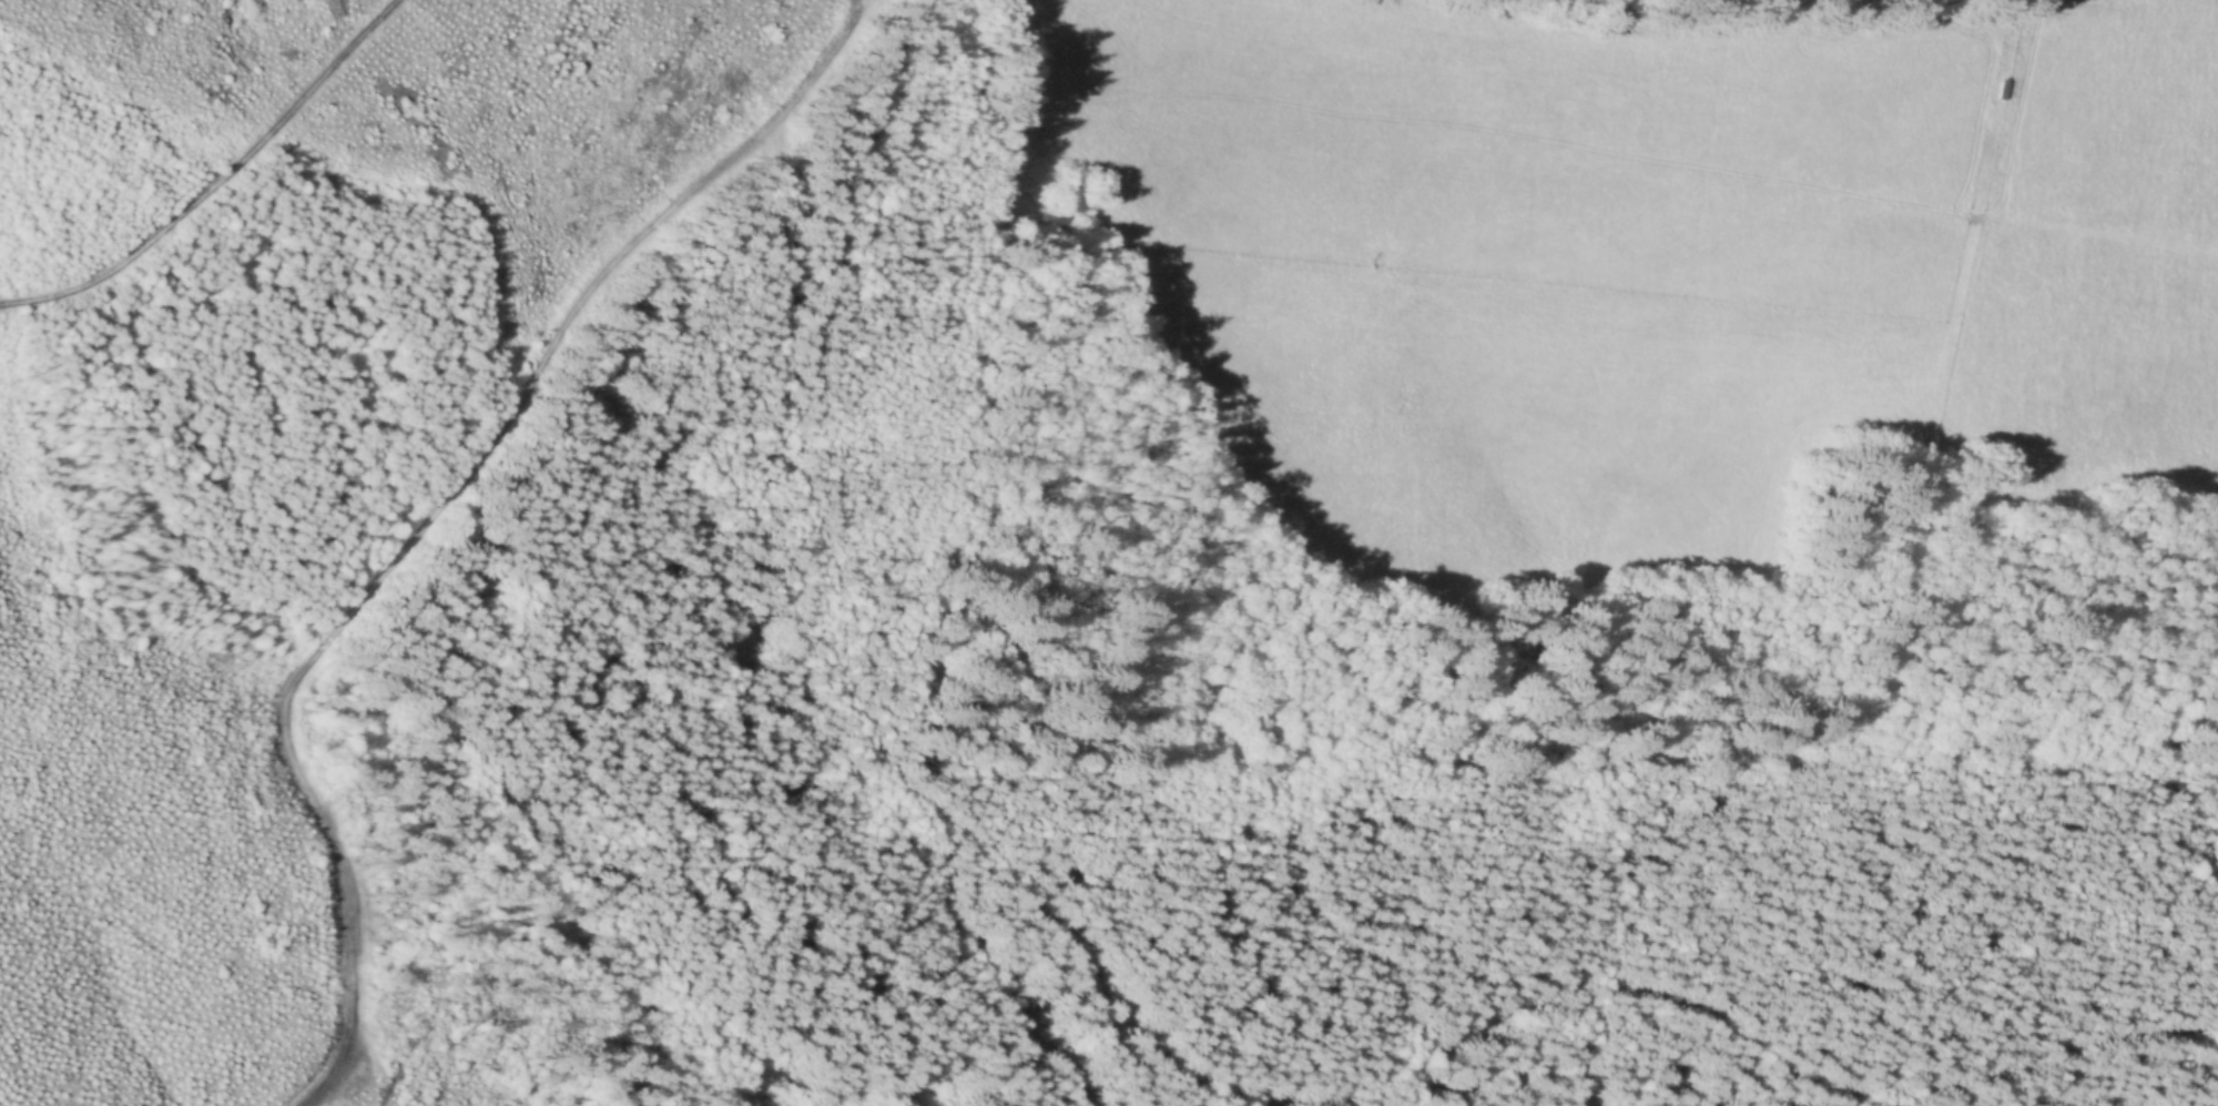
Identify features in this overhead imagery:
building: (2073, 0)

